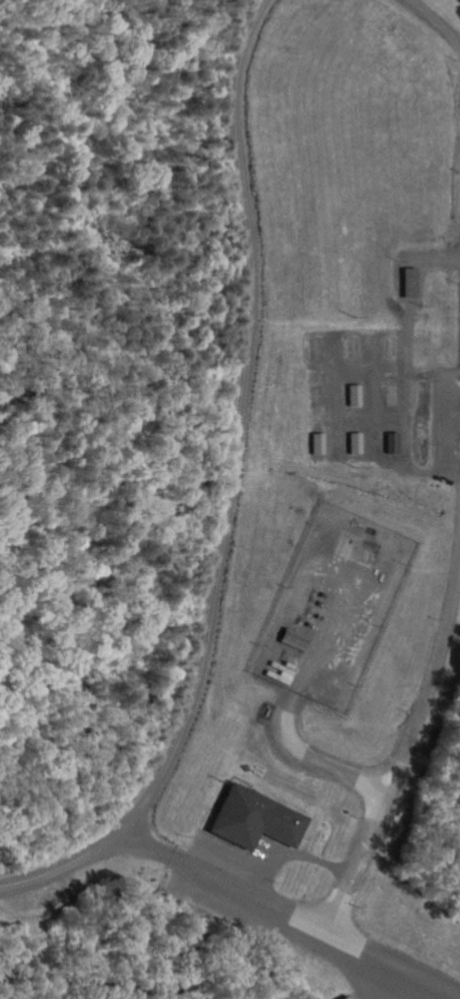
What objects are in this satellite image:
road: (436, 20)
building: (406, 283)
road: (407, 374)
road: (433, 376)
building: (351, 395)
building: (351, 443)
building: (388, 443)
building: (313, 444)
road: (228, 489)
building: (290, 640)
road: (290, 717)
road: (407, 752)
building: (253, 820)
road: (295, 856)
road: (289, 914)
building: (342, 998)

